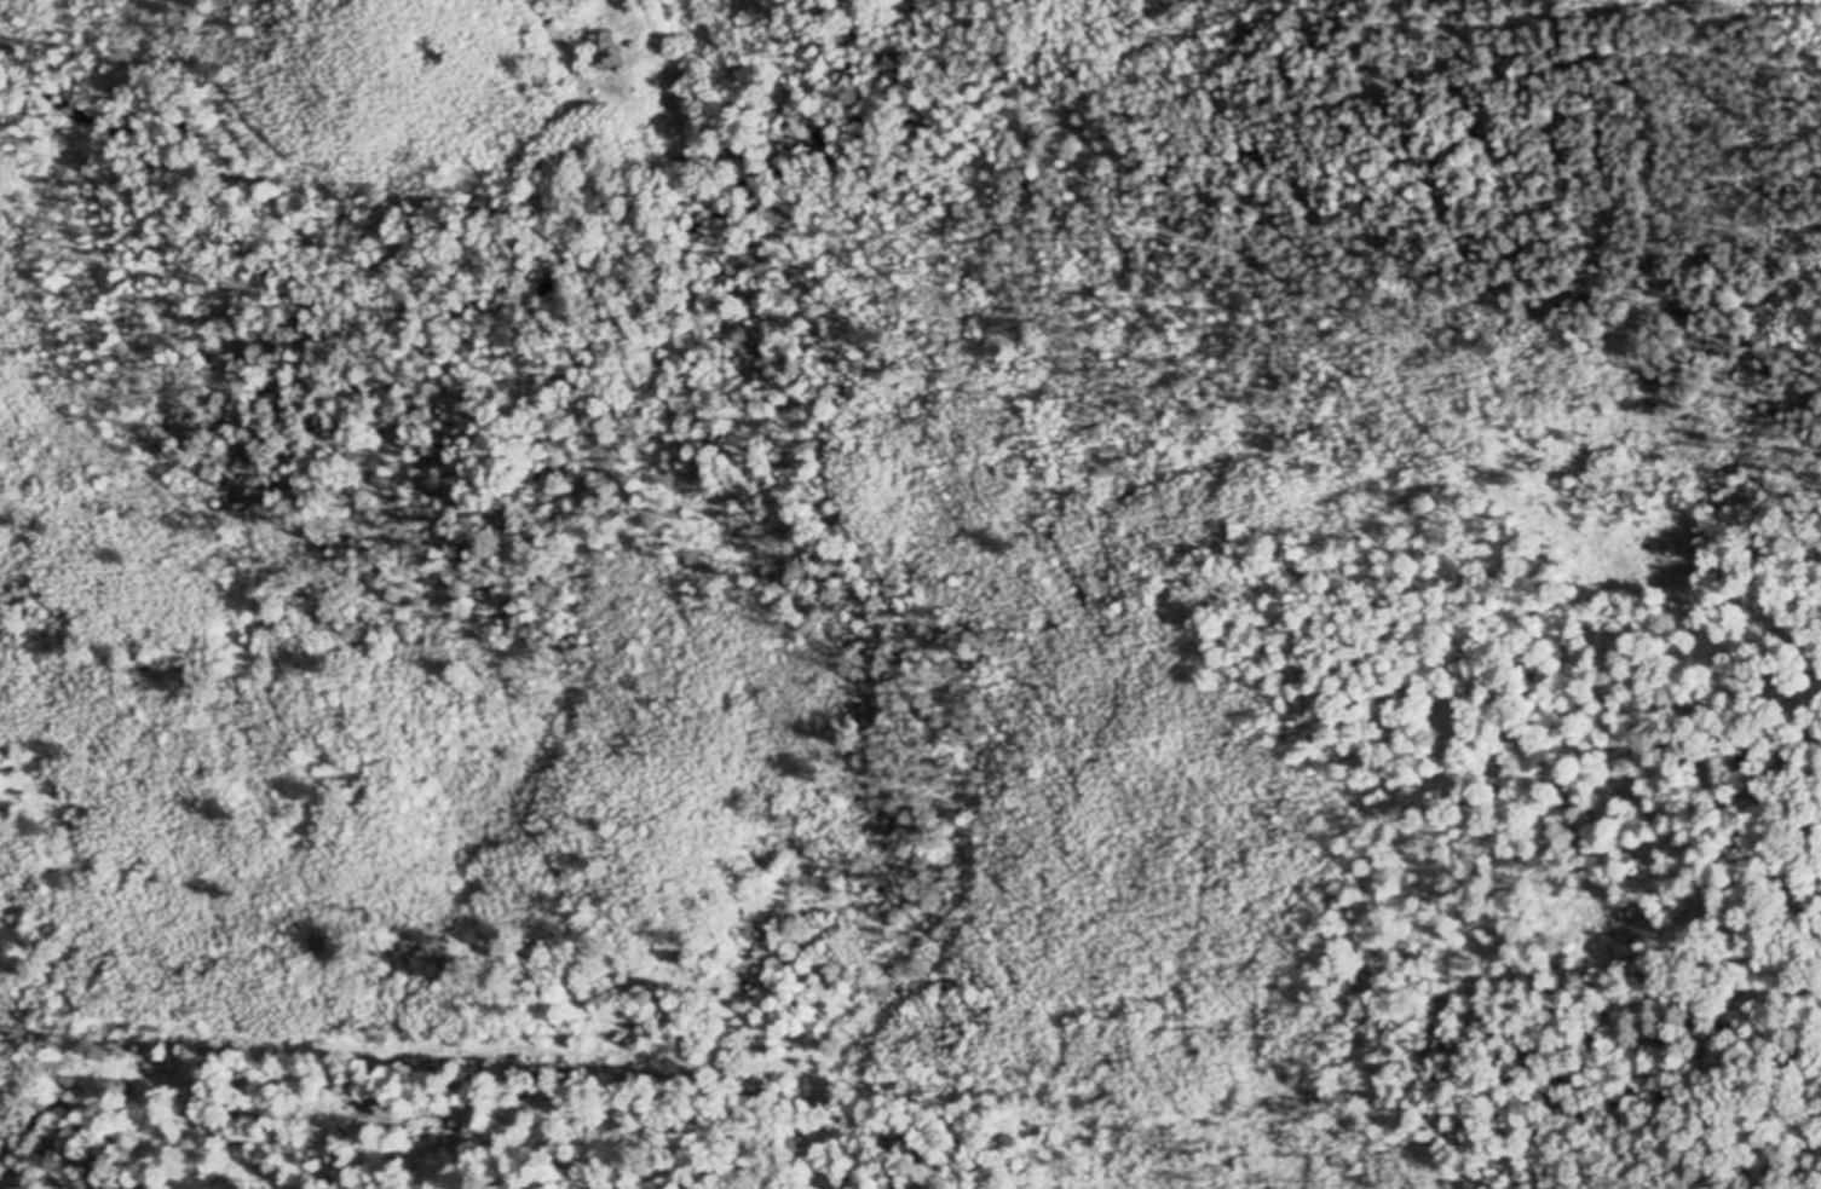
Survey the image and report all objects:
road: (1719, 677)

